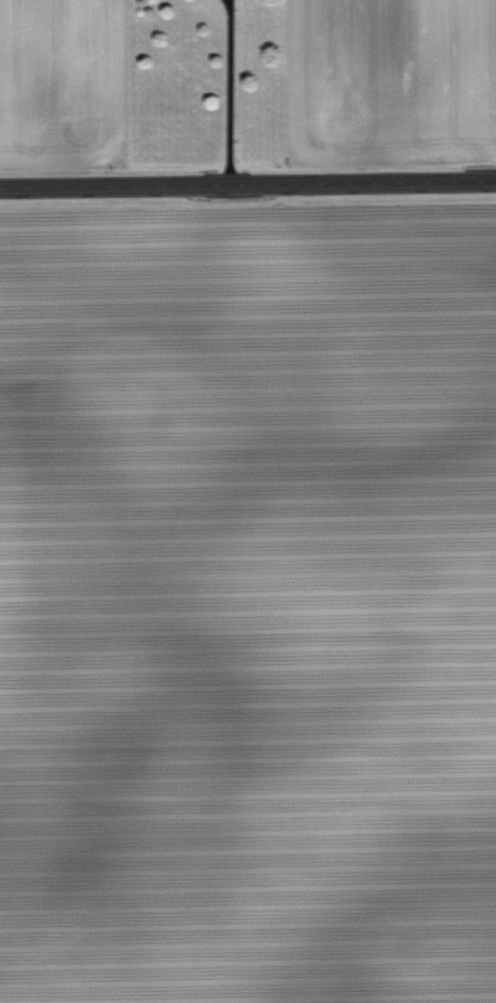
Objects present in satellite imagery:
road: (231, 92)
road: (248, 183)

